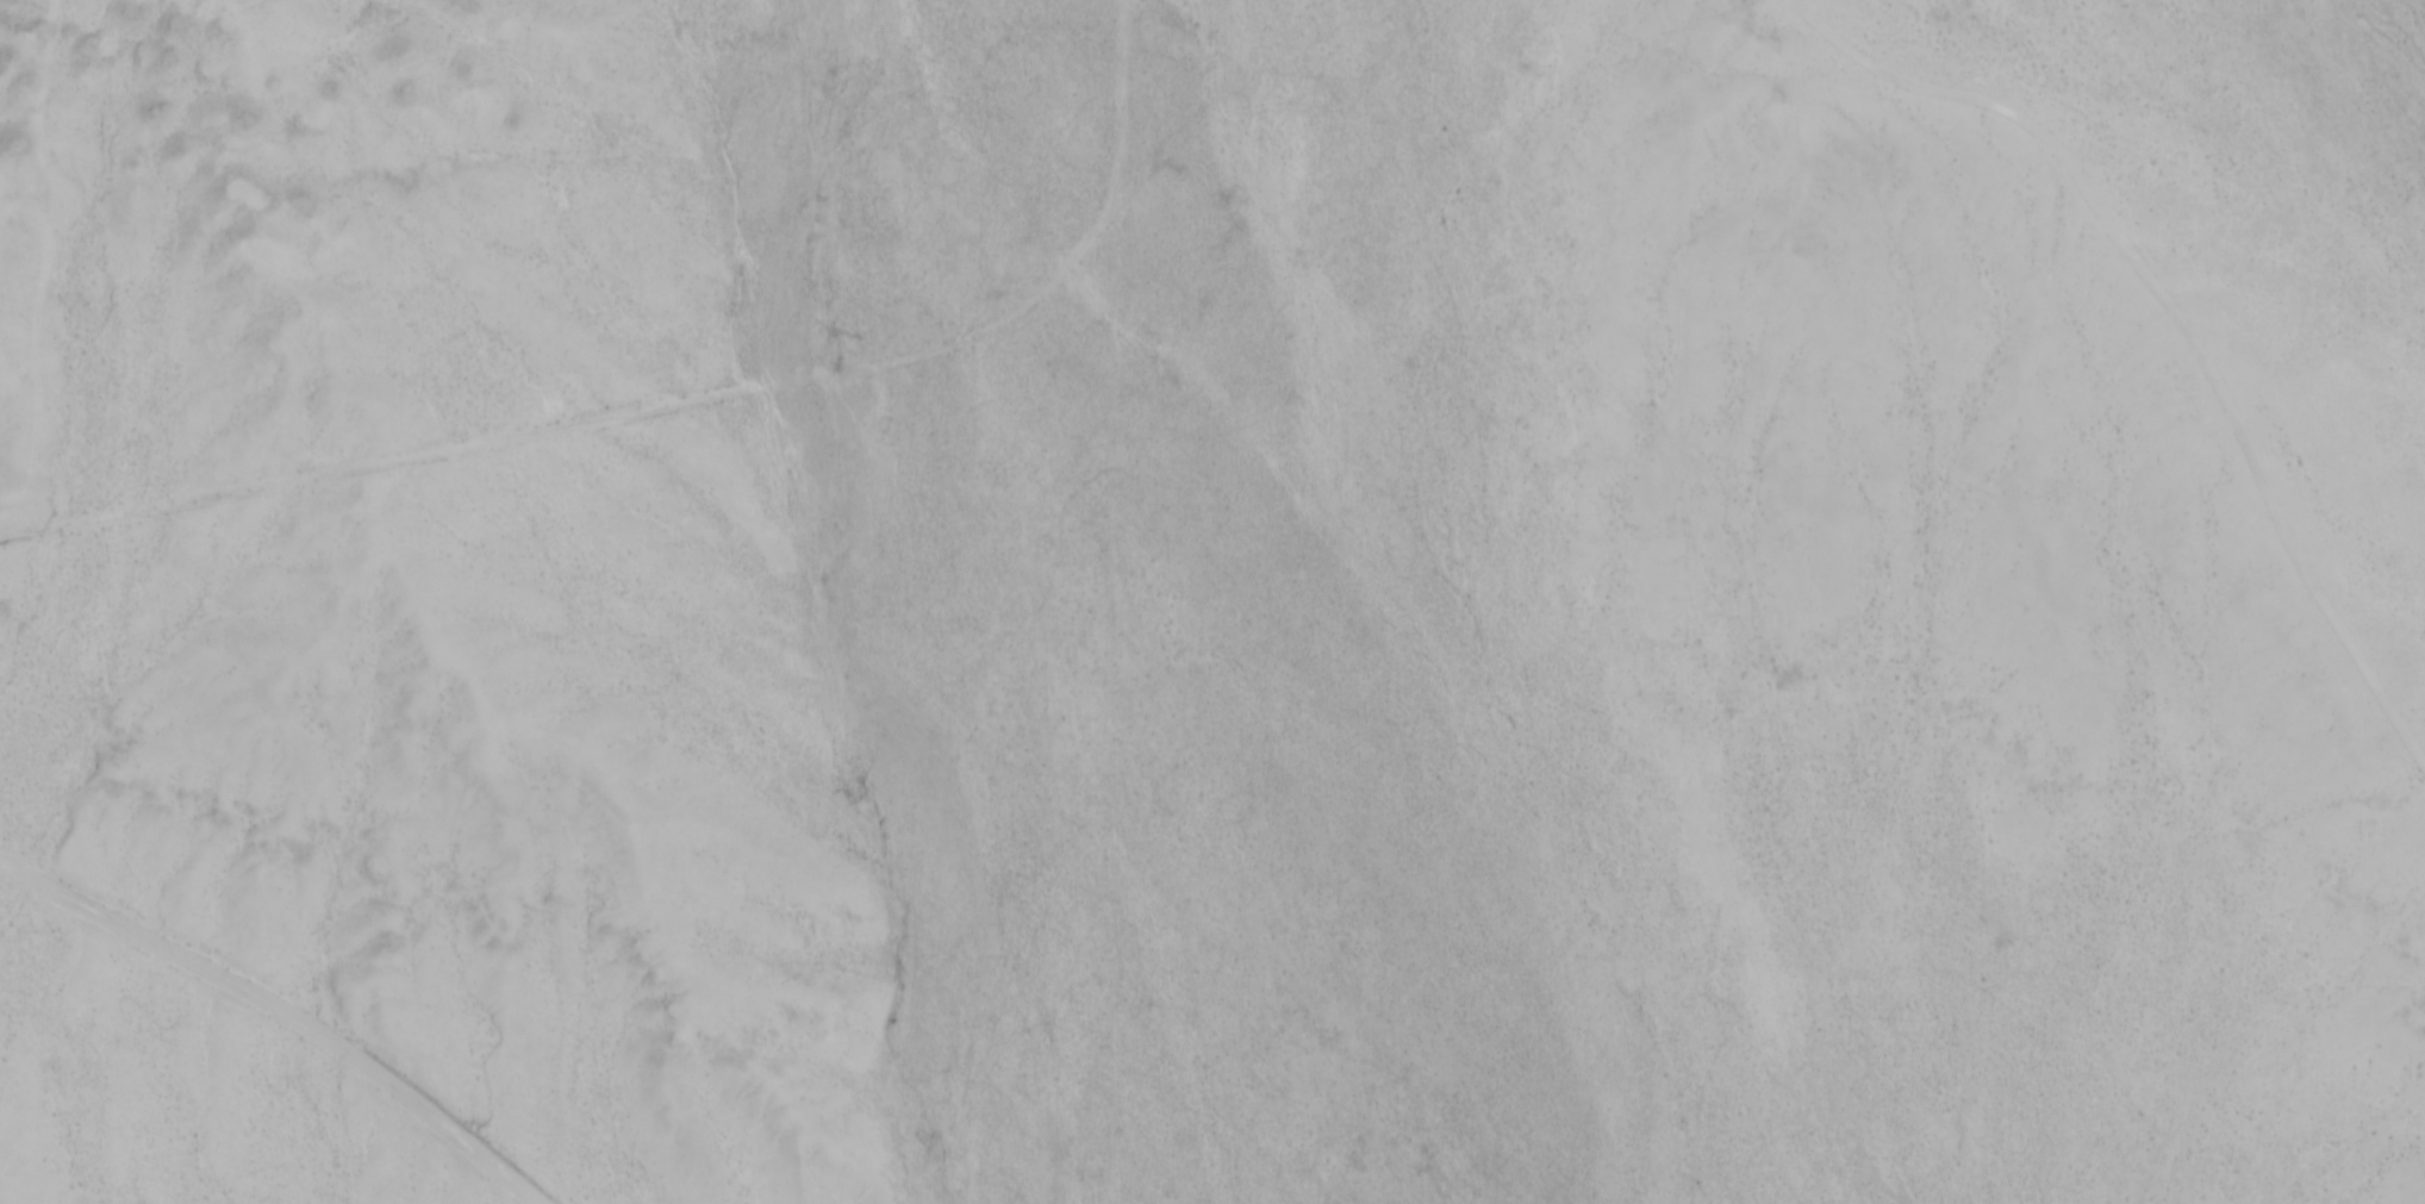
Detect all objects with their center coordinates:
road: (2165, 291)
road: (706, 428)
road: (285, 1035)

